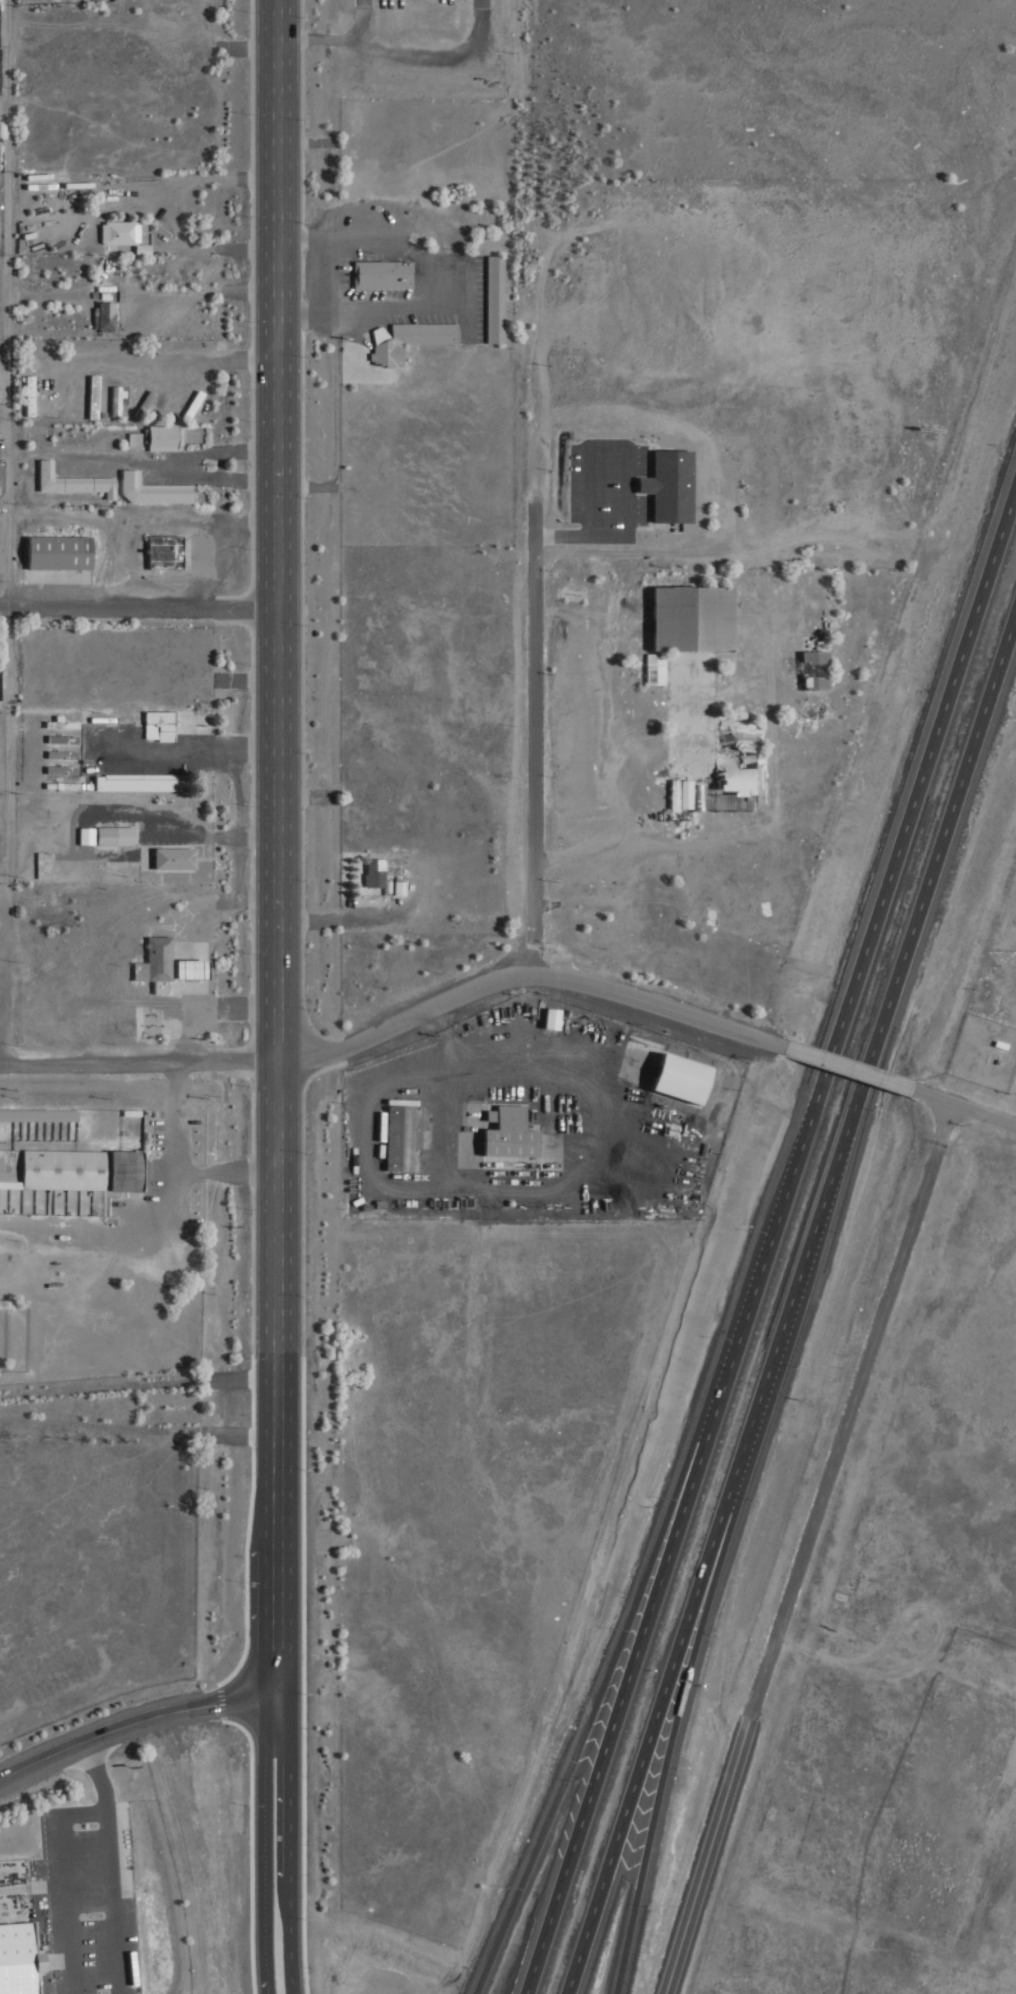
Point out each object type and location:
road: (2, 109)
building: (121, 232)
building: (383, 274)
building: (496, 298)
road: (6, 304)
road: (366, 307)
building: (104, 316)
building: (409, 340)
building: (31, 395)
building: (117, 401)
building: (165, 438)
building: (135, 439)
building: (75, 481)
building: (662, 485)
building: (154, 490)
building: (166, 551)
building: (62, 552)
road: (136, 608)
building: (810, 657)
building: (651, 670)
building: (810, 683)
building: (693, 702)
building: (62, 723)
building: (161, 724)
building: (62, 738)
road: (531, 738)
building: (63, 754)
building: (62, 769)
building: (143, 781)
building: (88, 835)
building: (117, 835)
road: (274, 851)
building: (177, 857)
building: (44, 864)
building: (371, 872)
building: (397, 888)
building: (158, 960)
building: (186, 965)
building: (541, 1016)
road: (396, 1023)
road: (843, 1067)
building: (664, 1077)
road: (961, 1107)
building: (123, 1109)
building: (36, 1115)
building: (499, 1130)
building: (393, 1134)
building: (75, 1169)
building: (6, 1181)
road: (769, 1236)
road: (789, 1299)
building: (6, 1300)
road: (136, 1384)
road: (137, 1427)
road: (801, 1547)
road: (587, 1710)
road: (133, 1721)
road: (668, 1726)
road: (289, 1807)
road: (259, 1828)
road: (286, 1955)
building: (13, 1958)
road: (257, 1975)
road: (265, 1975)

